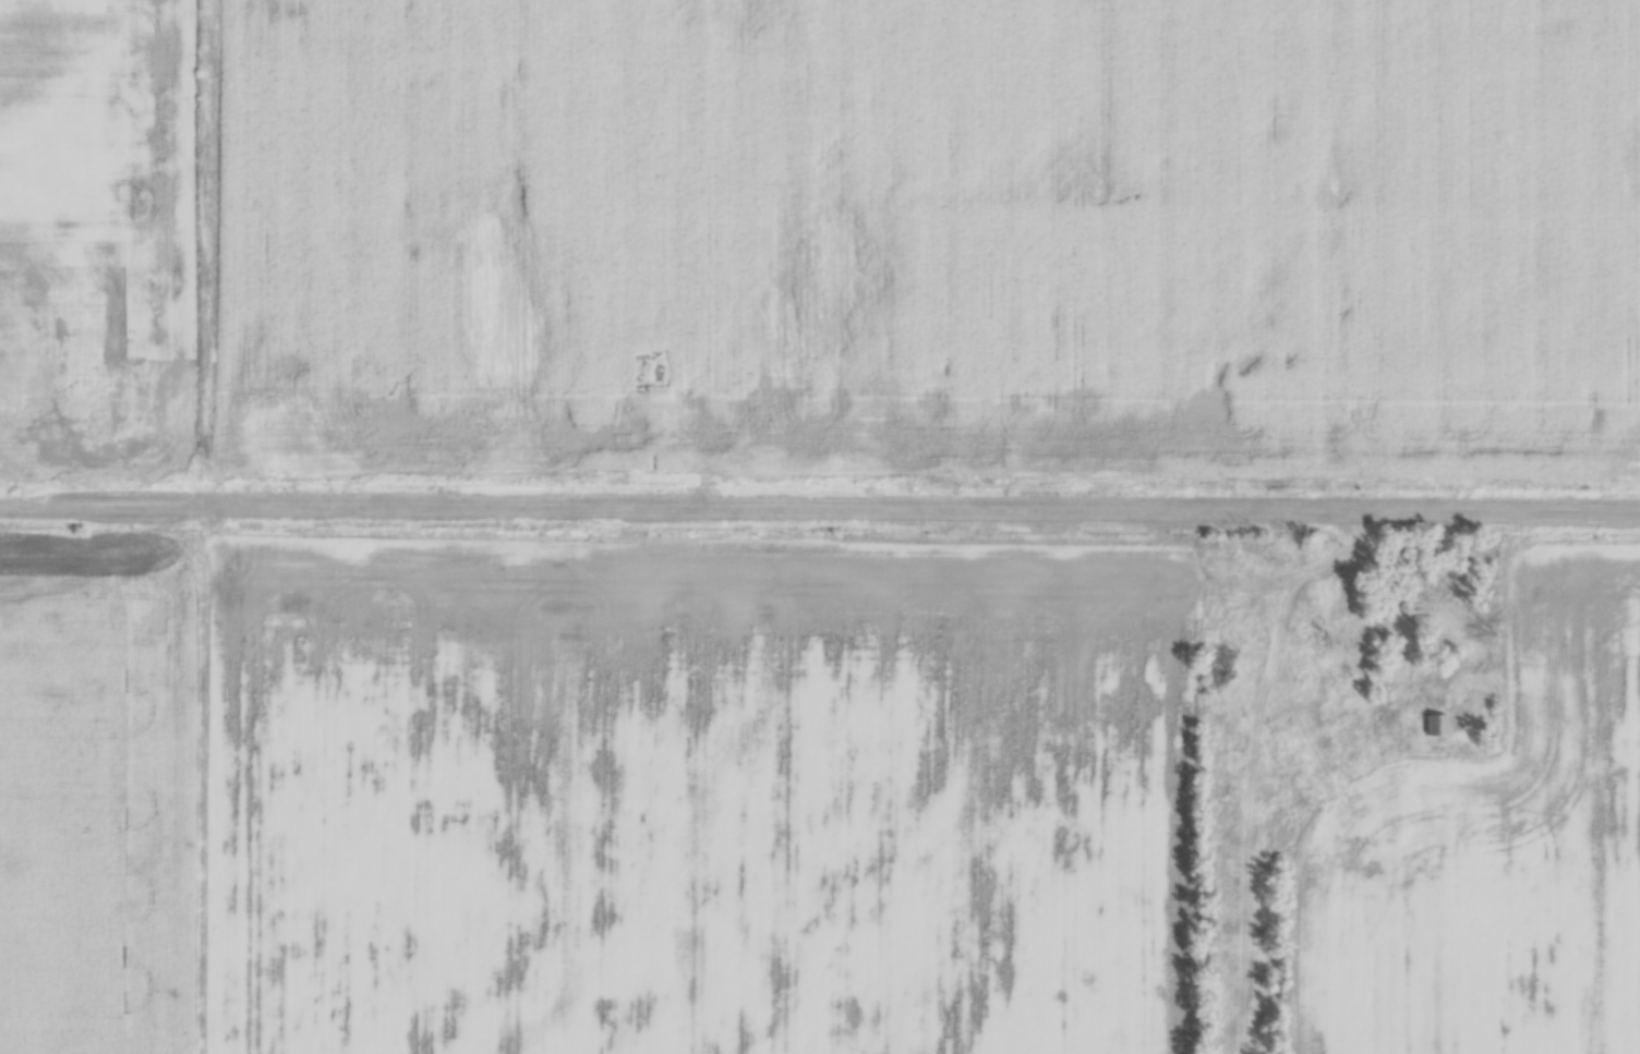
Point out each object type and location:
road: (820, 511)

